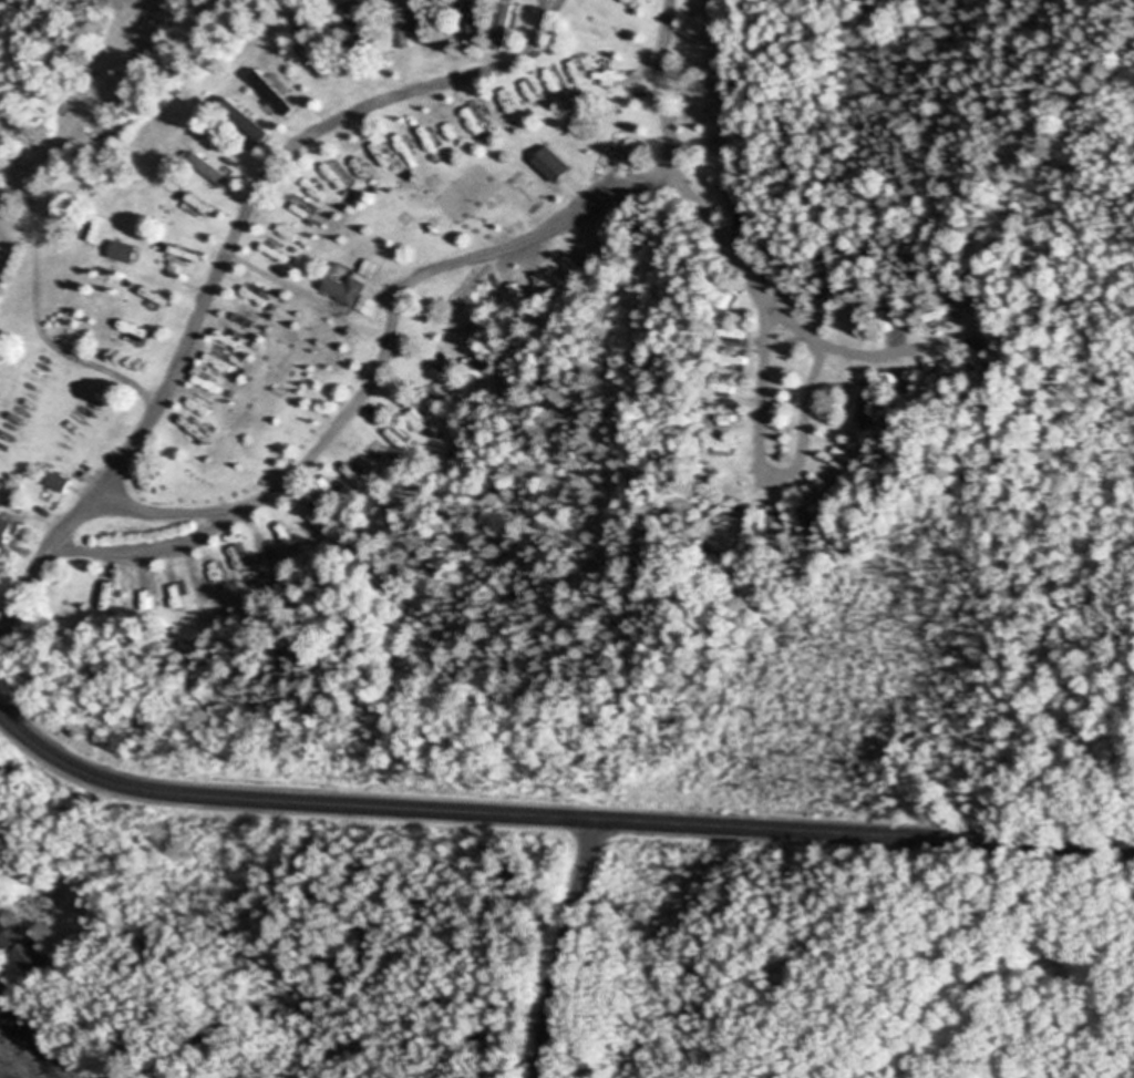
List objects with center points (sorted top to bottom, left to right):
building: (472, 25)
building: (502, 28)
building: (403, 30)
building: (576, 71)
building: (272, 94)
building: (505, 102)
building: (243, 122)
building: (429, 144)
building: (550, 165)
building: (210, 172)
building: (337, 178)
building: (313, 193)
building: (735, 204)
building: (302, 212)
building: (96, 230)
building: (122, 253)
building: (369, 269)
building: (343, 290)
building: (255, 298)
building: (725, 299)
building: (367, 307)
building: (887, 314)
building: (246, 317)
building: (941, 317)
building: (140, 333)
building: (722, 446)
building: (58, 483)
building: (315, 515)
building: (765, 519)
building: (8, 535)
building: (104, 598)
road: (555, 817)
road: (566, 947)
building: (22, 951)

